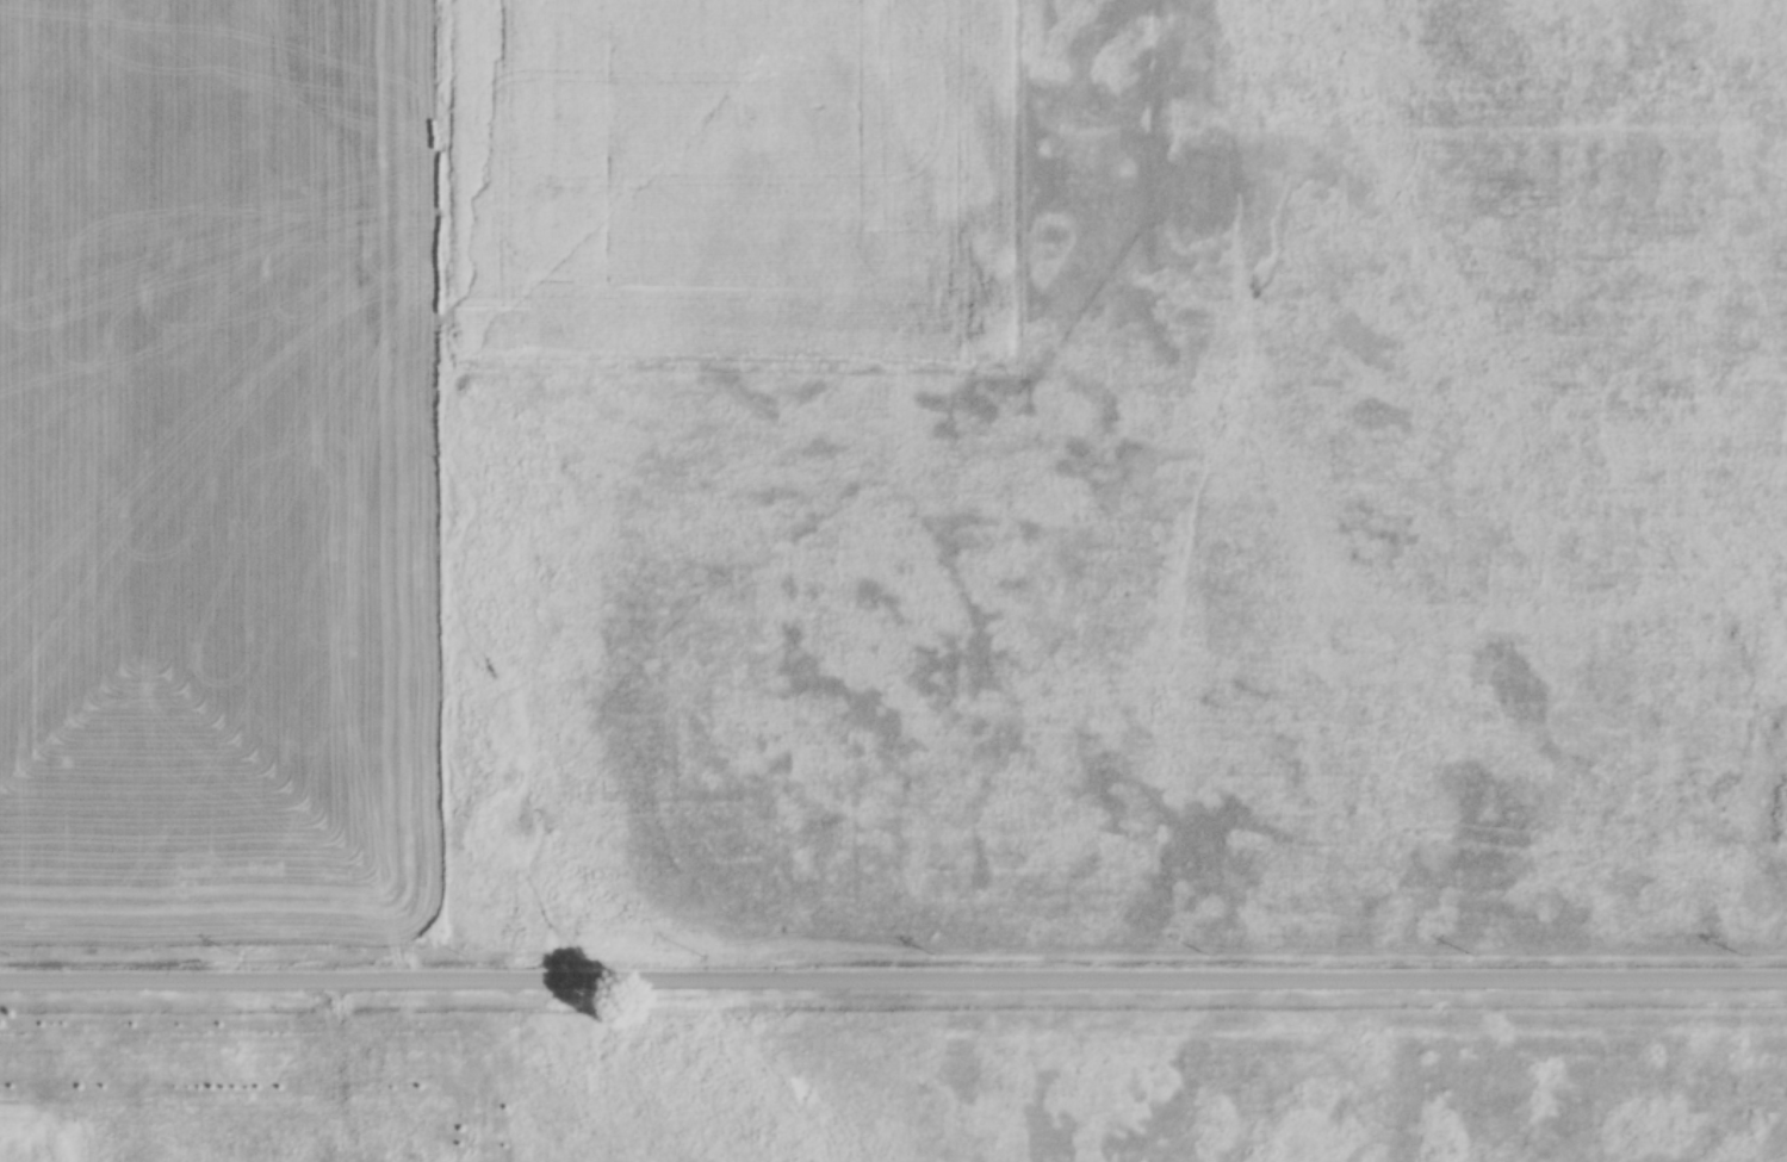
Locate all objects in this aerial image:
road: (893, 973)

